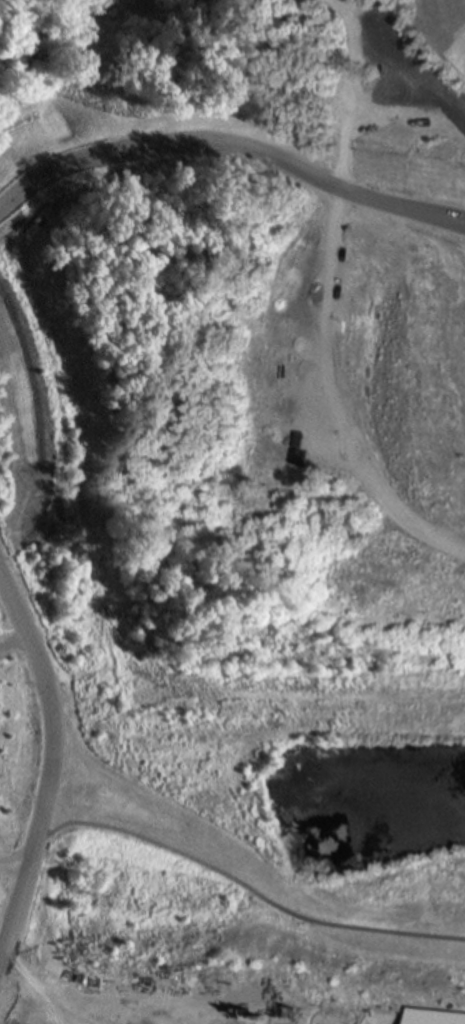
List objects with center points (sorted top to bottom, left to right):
road: (234, 144)
road: (330, 398)
road: (45, 759)
road: (10, 866)

